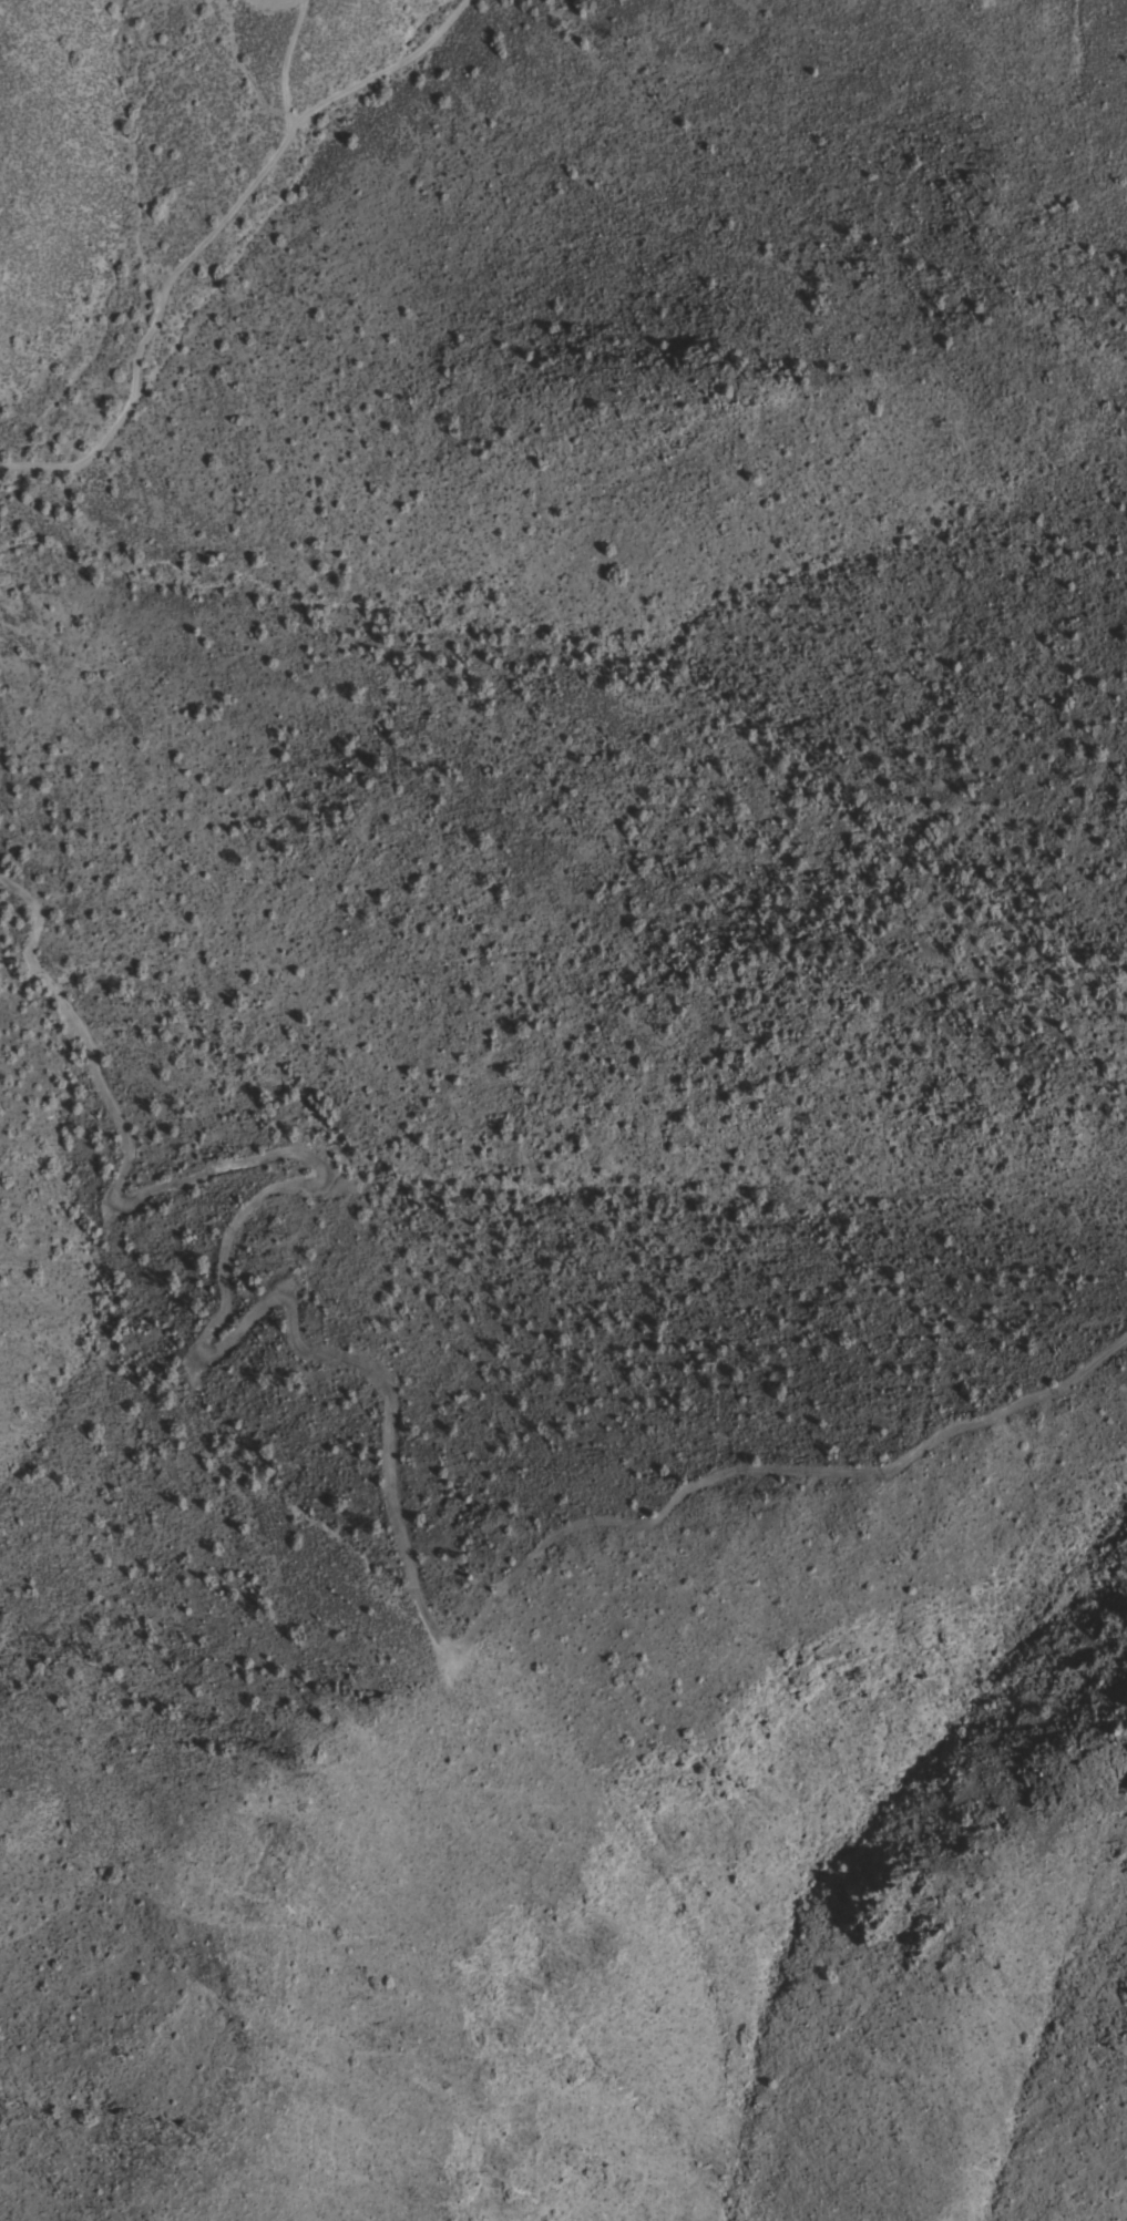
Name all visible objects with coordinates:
road: (273, 3)
road: (209, 232)
road: (351, 1362)

